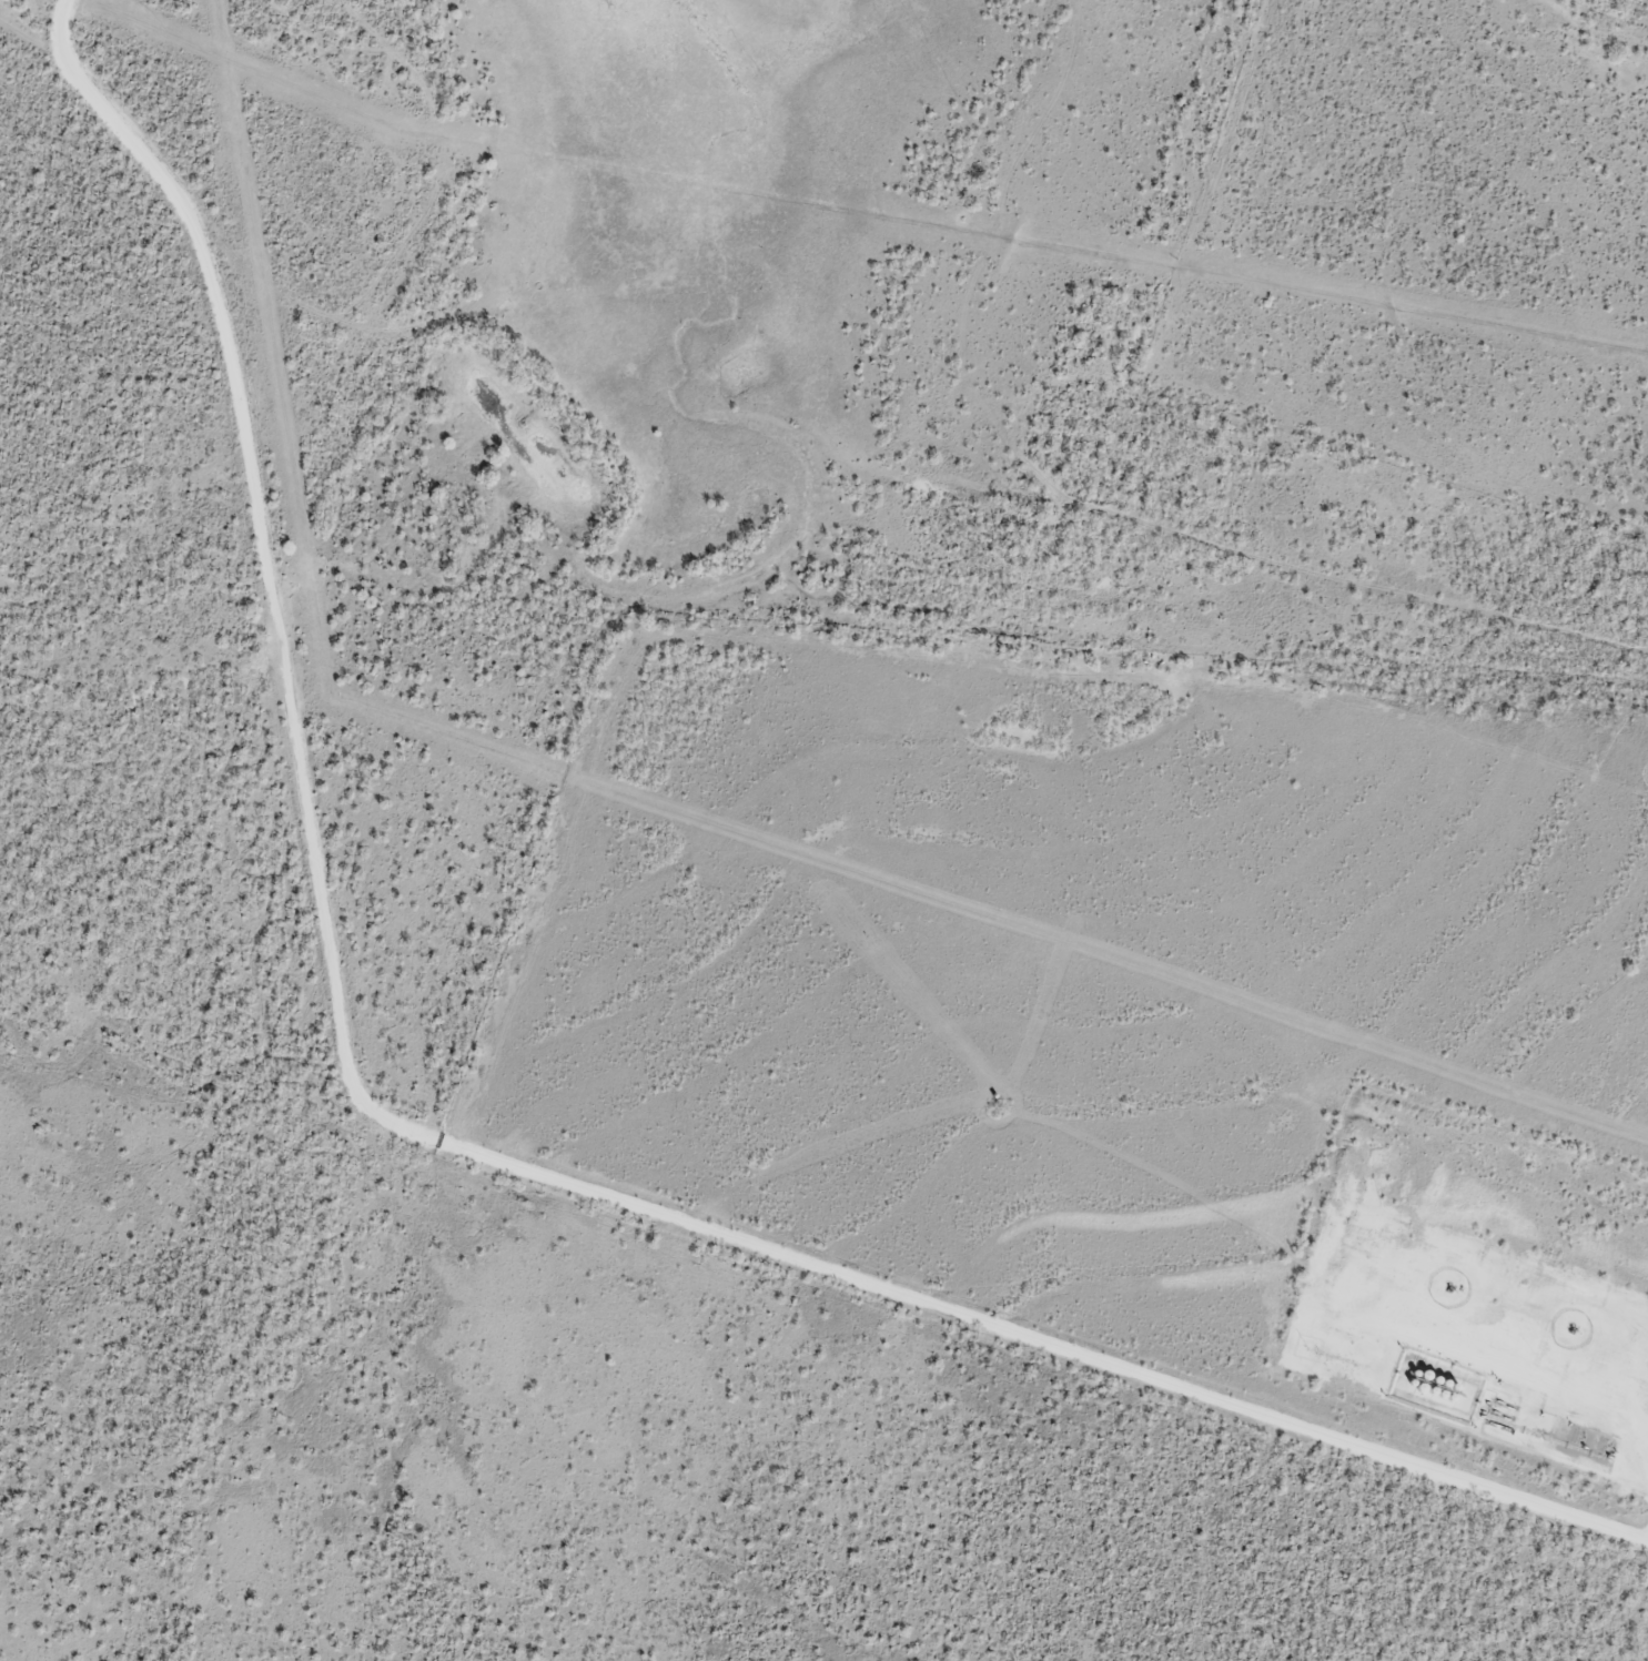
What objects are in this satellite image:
road: (729, 510)

